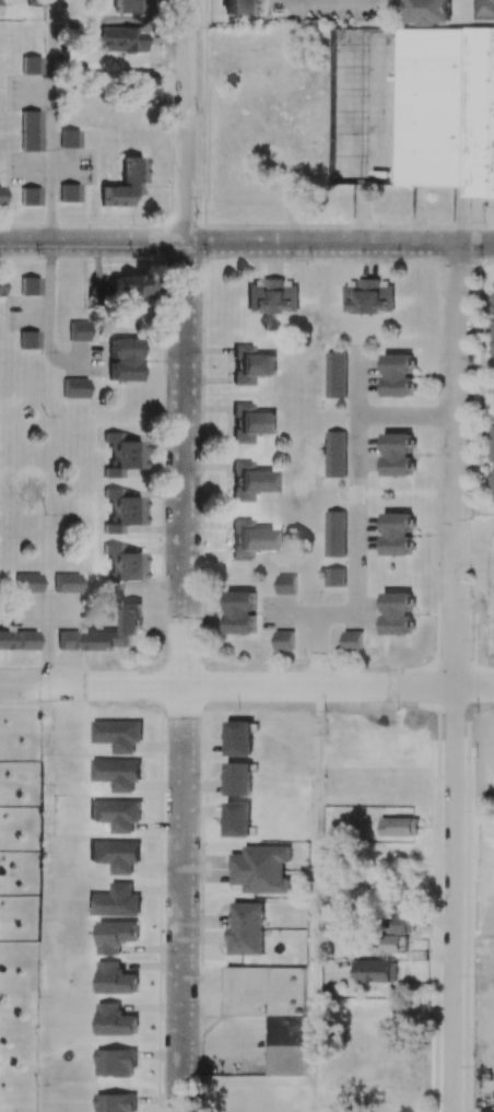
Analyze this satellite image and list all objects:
road: (330, 2)
building: (129, 7)
building: (237, 8)
building: (490, 9)
building: (430, 11)
street lamp: (304, 22)
street lamp: (355, 23)
street lamp: (199, 26)
building: (118, 39)
road: (348, 42)
building: (32, 65)
building: (140, 86)
building: (446, 108)
street lamp: (199, 112)
road: (187, 121)
building: (31, 131)
building: (70, 139)
road: (369, 168)
road: (378, 176)
building: (125, 184)
building: (0, 191)
building: (70, 192)
building: (31, 197)
road: (50, 200)
road: (360, 209)
road: (416, 214)
road: (459, 214)
street lamp: (466, 218)
road: (472, 221)
street lamp: (377, 225)
street lamp: (244, 226)
road: (247, 243)
street lamp: (133, 258)
street lamp: (209, 258)
building: (31, 286)
building: (128, 288)
building: (271, 296)
building: (367, 296)
building: (78, 330)
building: (30, 340)
street lamp: (42, 352)
street lamp: (203, 359)
street lamp: (438, 359)
building: (123, 360)
building: (250, 364)
building: (336, 374)
building: (397, 374)
building: (74, 388)
road: (355, 413)
road: (405, 415)
building: (250, 423)
building: (334, 453)
building: (397, 454)
building: (122, 455)
building: (250, 481)
building: (493, 500)
building: (122, 511)
street lamp: (471, 518)
building: (333, 534)
building: (396, 534)
building: (249, 539)
street lamp: (202, 560)
road: (354, 560)
building: (123, 563)
building: (333, 577)
building: (28, 583)
building: (67, 583)
building: (285, 583)
building: (114, 585)
street lamp: (45, 589)
road: (31, 610)
road: (67, 611)
building: (239, 611)
road: (313, 612)
building: (396, 612)
building: (130, 617)
street lamp: (471, 639)
building: (26, 640)
building: (68, 640)
building: (283, 640)
building: (4, 641)
building: (352, 641)
road: (47, 647)
road: (316, 649)
street lamp: (201, 660)
street lamp: (107, 668)
road: (183, 677)
road: (454, 678)
road: (247, 686)
street lamp: (238, 702)
street lamp: (397, 703)
street lamp: (435, 729)
building: (117, 734)
building: (116, 773)
street lamp: (200, 776)
building: (238, 779)
building: (116, 813)
building: (398, 826)
building: (116, 855)
building: (261, 869)
street lamp: (469, 882)
street lamp: (200, 885)
road: (314, 899)
building: (116, 901)
building: (405, 924)
building: (248, 928)
building: (115, 936)
building: (393, 945)
building: (378, 971)
building: (115, 979)
street lamp: (199, 991)
street lamp: (467, 996)
building: (273, 1010)
building: (115, 1020)
building: (115, 1062)
street lamp: (466, 1076)
building: (115, 1102)
street lamp: (198, 1109)
park: (360, 1110)

